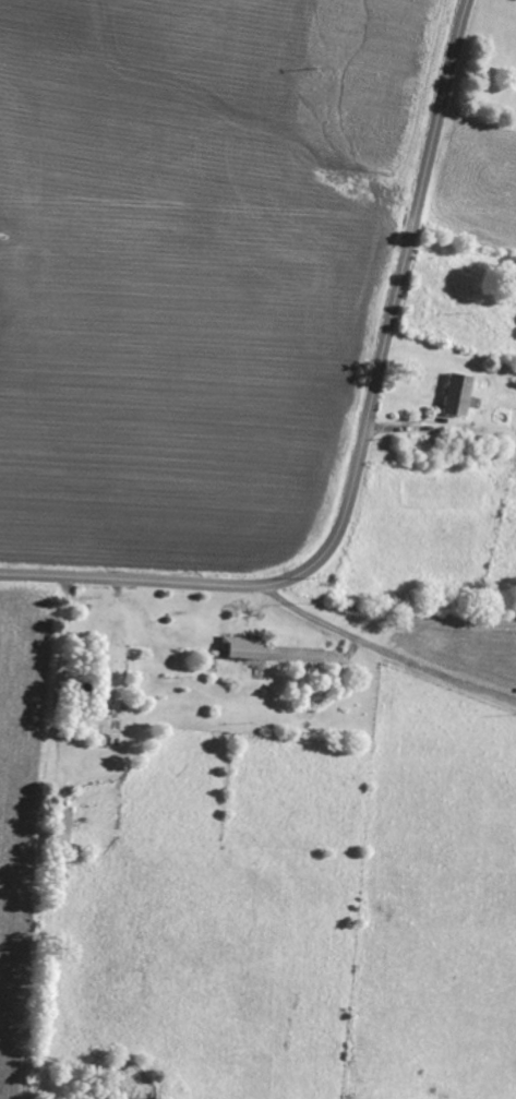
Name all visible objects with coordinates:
building: (460, 395)
road: (363, 440)
building: (245, 648)
road: (385, 650)

